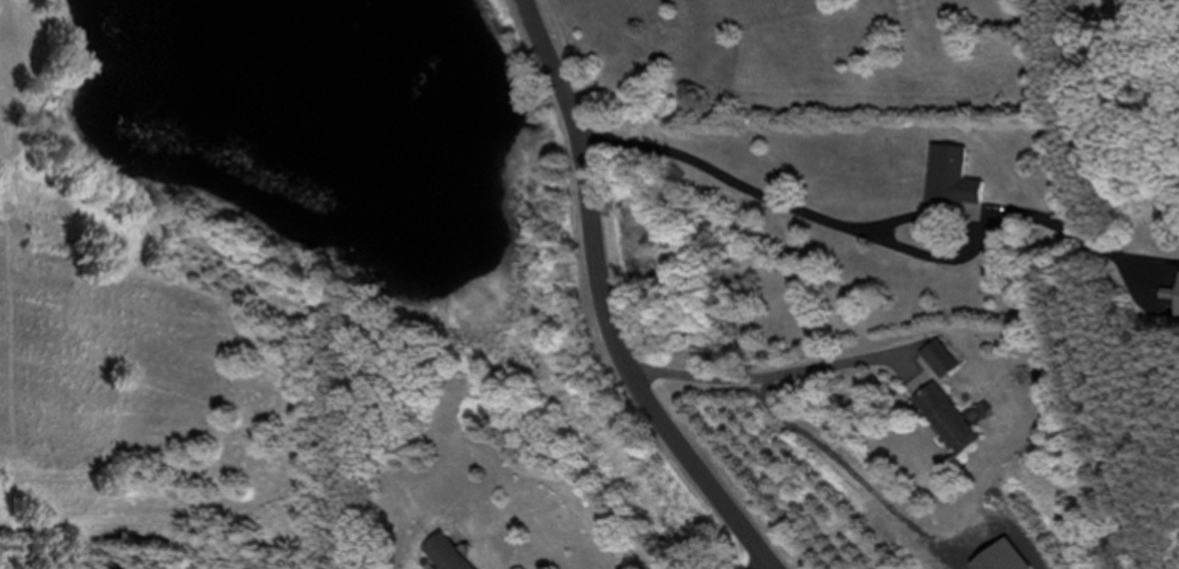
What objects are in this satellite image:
building: (950, 178)
building: (1175, 287)
road: (607, 304)
building: (937, 355)
road: (760, 370)
building: (942, 414)
building: (443, 552)
road: (759, 567)

